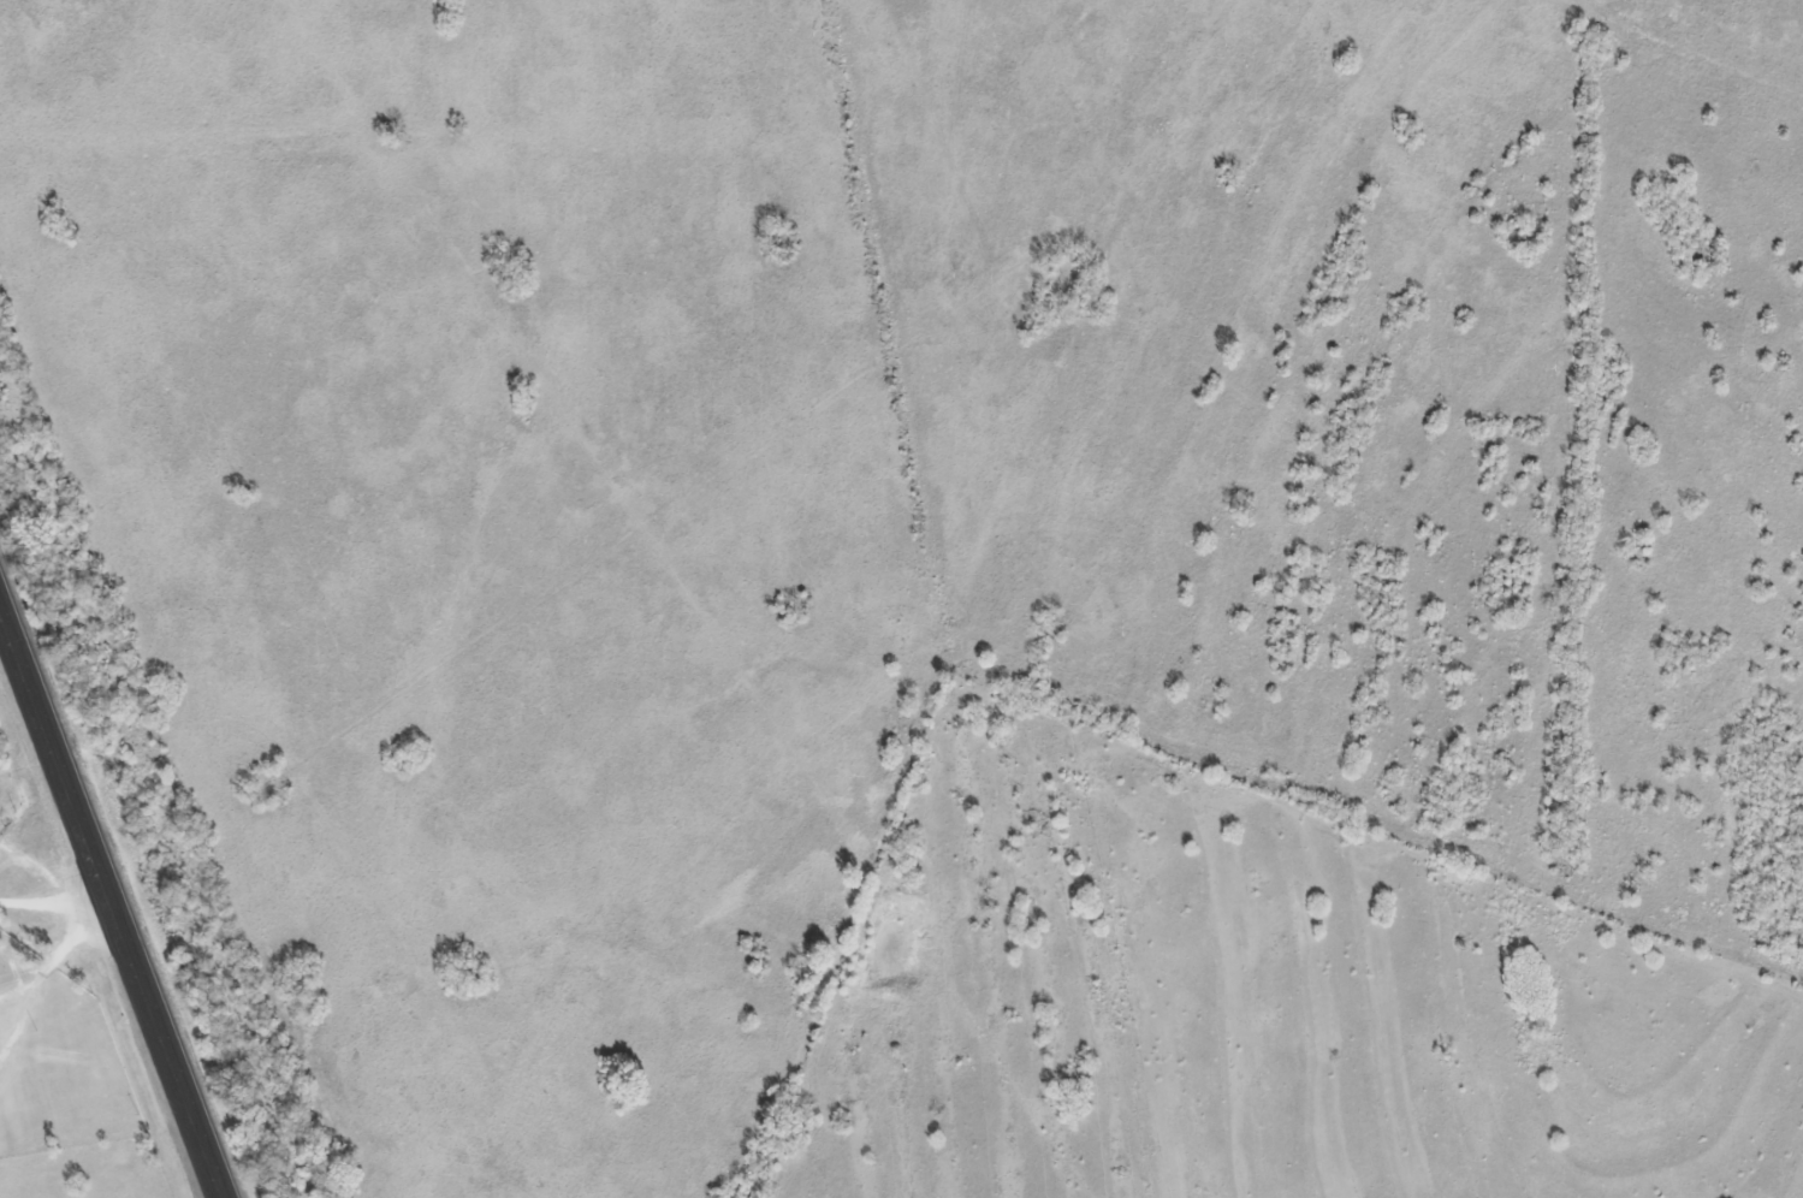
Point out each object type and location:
road: (53, 879)
road: (55, 901)
road: (111, 903)

